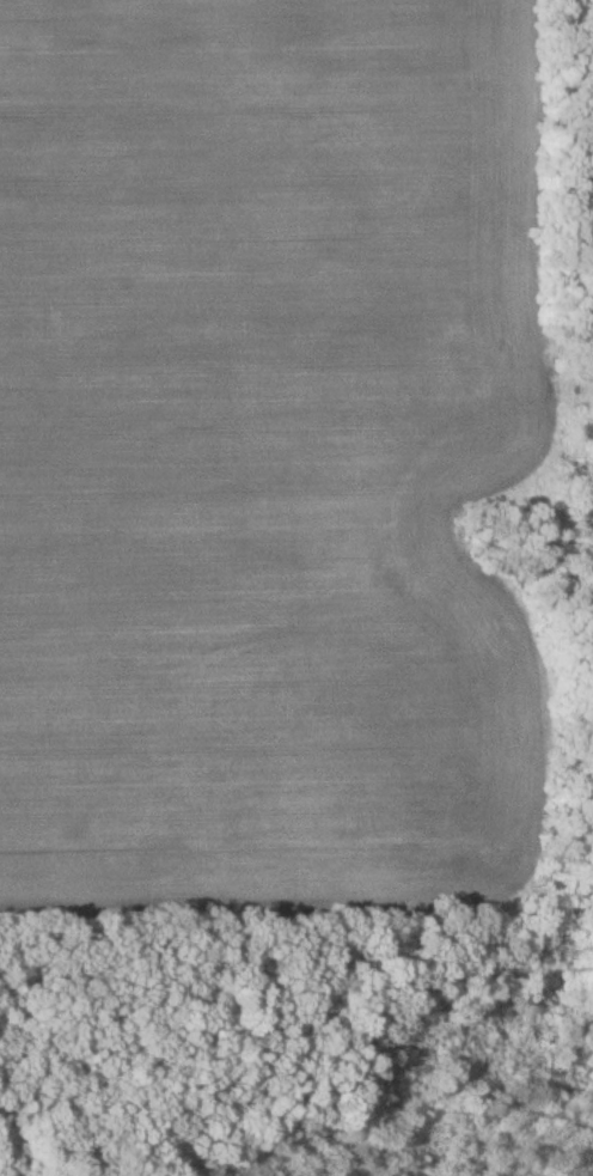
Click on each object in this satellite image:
road: (381, 299)

